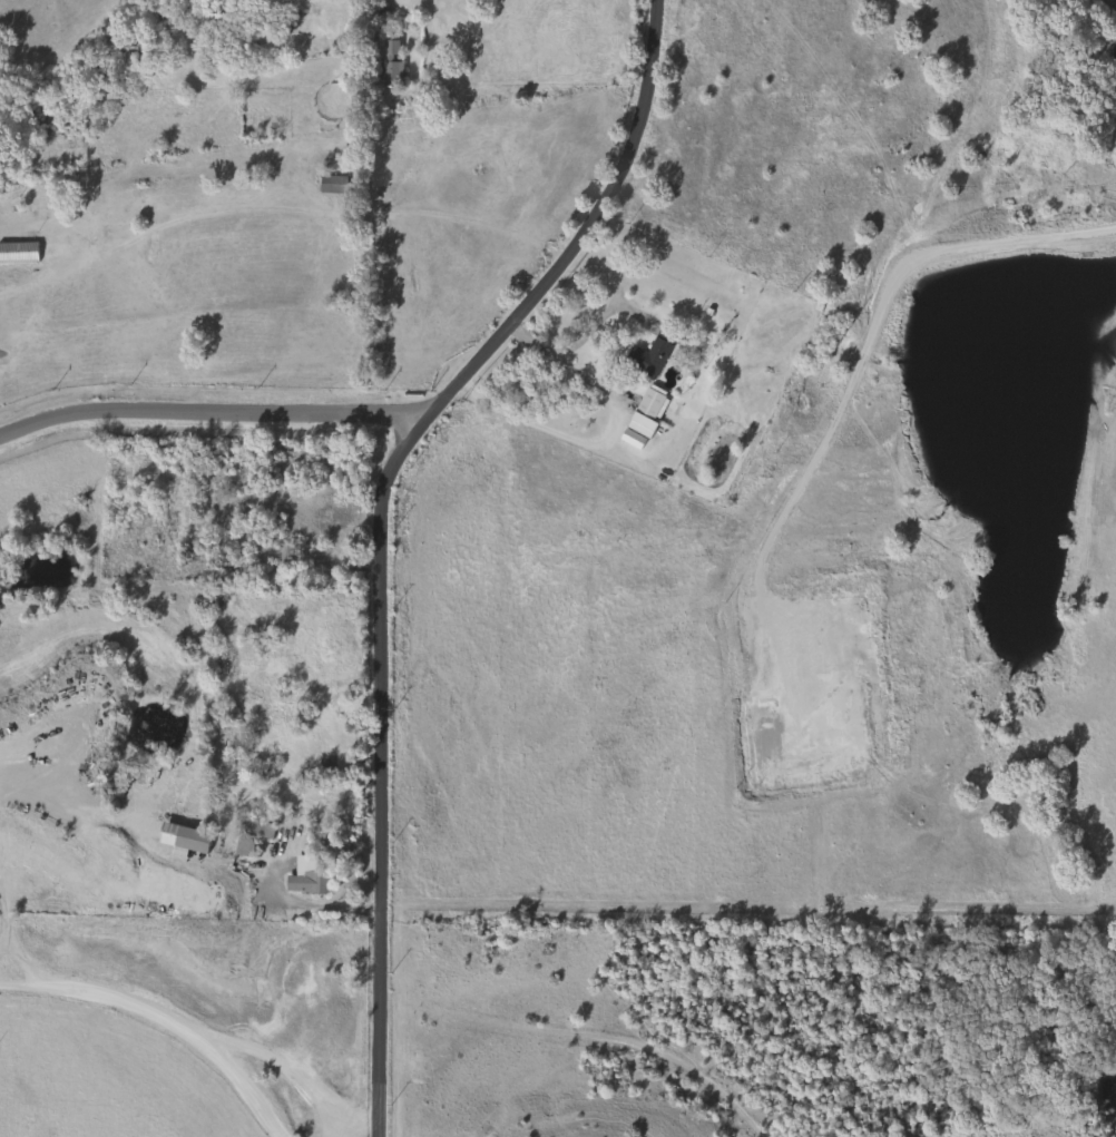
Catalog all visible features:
building: (374, 14)
building: (282, 19)
building: (385, 75)
building: (329, 185)
building: (16, 253)
building: (646, 353)
building: (647, 402)
road: (218, 403)
road: (597, 435)
road: (376, 522)
building: (281, 556)
building: (246, 665)
building: (247, 834)
building: (179, 837)
building: (298, 874)
road: (160, 1020)

